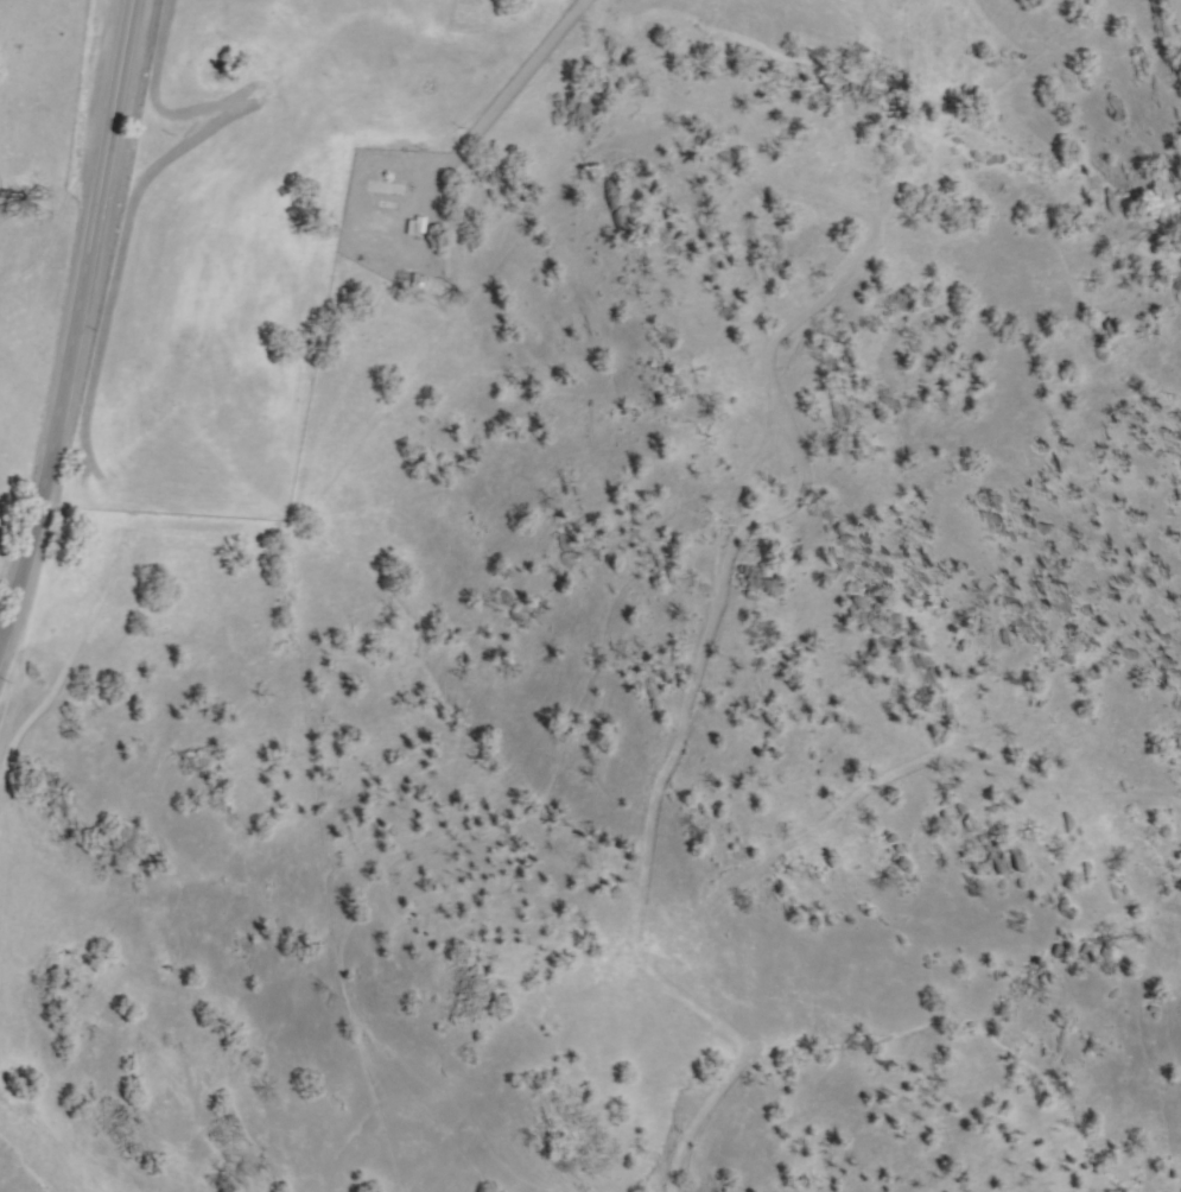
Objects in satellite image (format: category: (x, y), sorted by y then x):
crop: (815, 21)
road: (502, 103)
building: (425, 218)
crop: (172, 270)
road: (72, 335)

